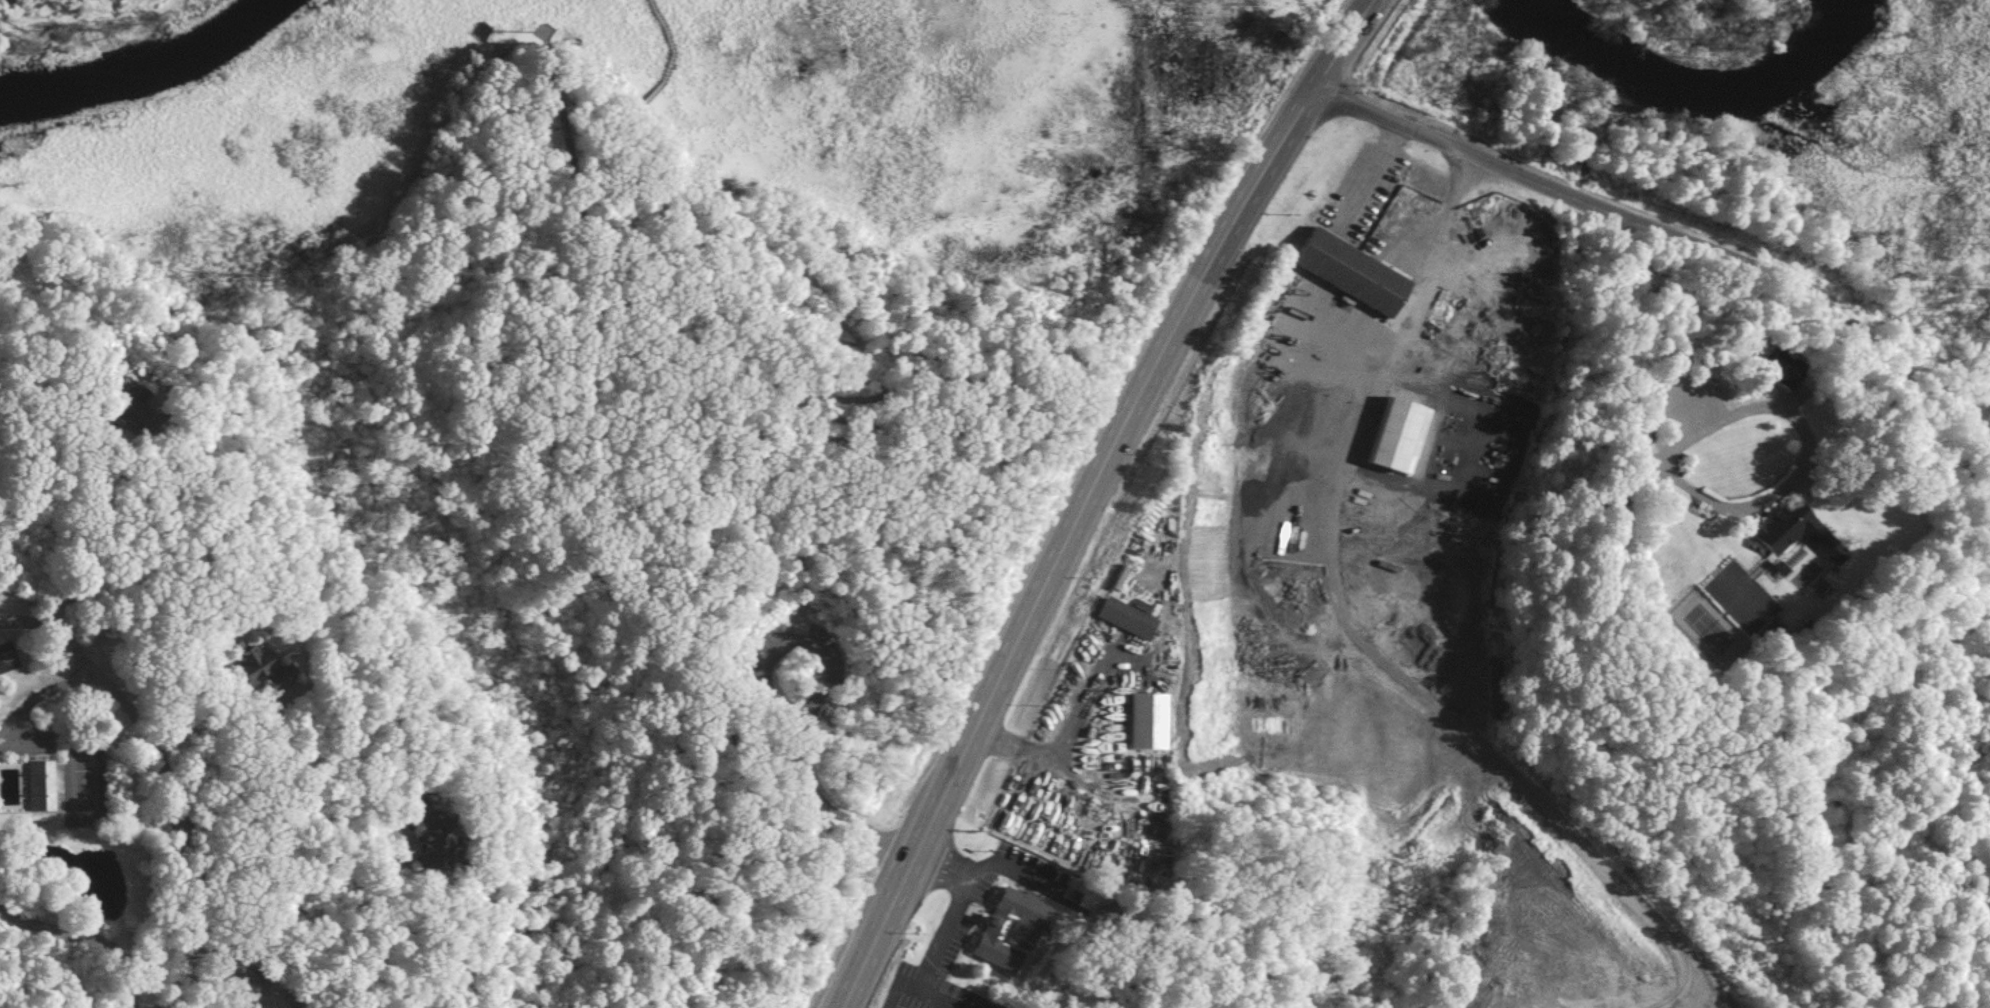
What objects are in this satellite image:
river: (144, 67)
river: (1689, 89)
road: (649, 92)
road: (1375, 172)
road: (554, 184)
road: (606, 209)
road: (1669, 235)
building: (1348, 271)
road: (1424, 296)
road: (854, 320)
road: (1614, 347)
building: (1788, 374)
road: (803, 405)
building: (136, 413)
building: (109, 432)
building: (1395, 435)
road: (1090, 495)
road: (1726, 505)
building: (1789, 527)
road: (100, 543)
road: (1952, 556)
building: (1124, 616)
road: (92, 669)
building: (262, 671)
road: (800, 709)
building: (1143, 721)
road: (260, 731)
road: (1030, 749)
building: (38, 783)
road: (267, 796)
road: (183, 833)
building: (431, 833)
road: (957, 907)
building: (1008, 926)
road: (97, 937)

